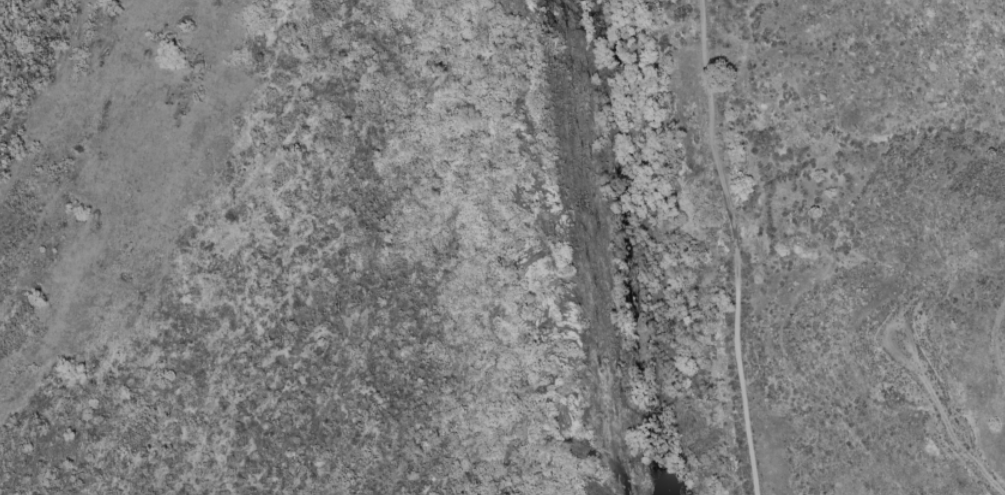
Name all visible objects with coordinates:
park: (435, 243)
road: (732, 246)
river: (582, 247)

